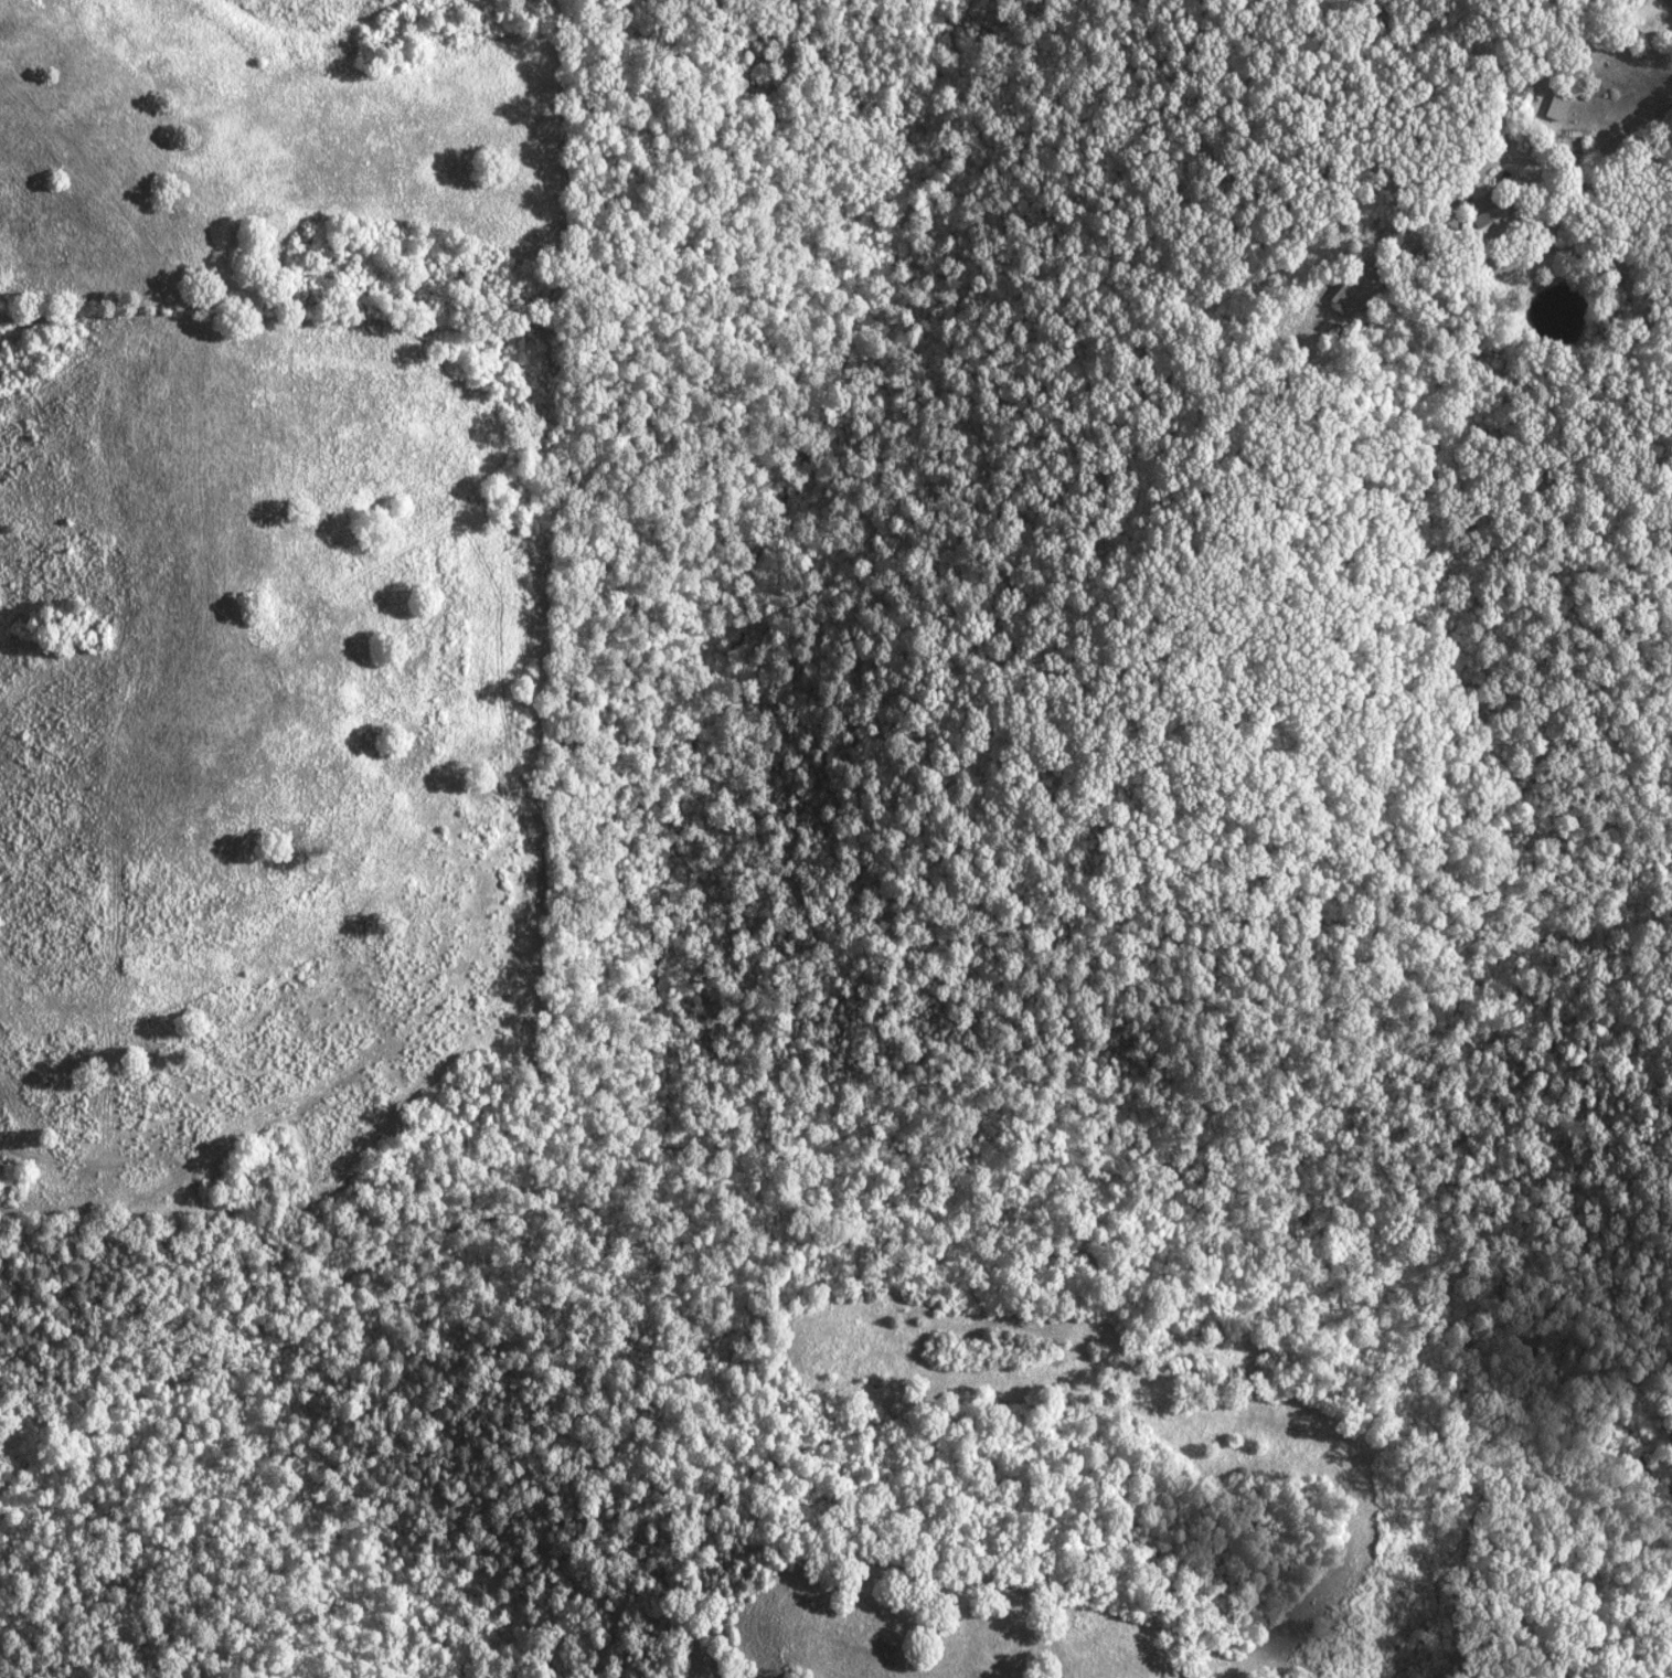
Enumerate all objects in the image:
building: (1551, 107)
building: (1482, 214)
road: (1606, 255)
building: (1350, 287)

